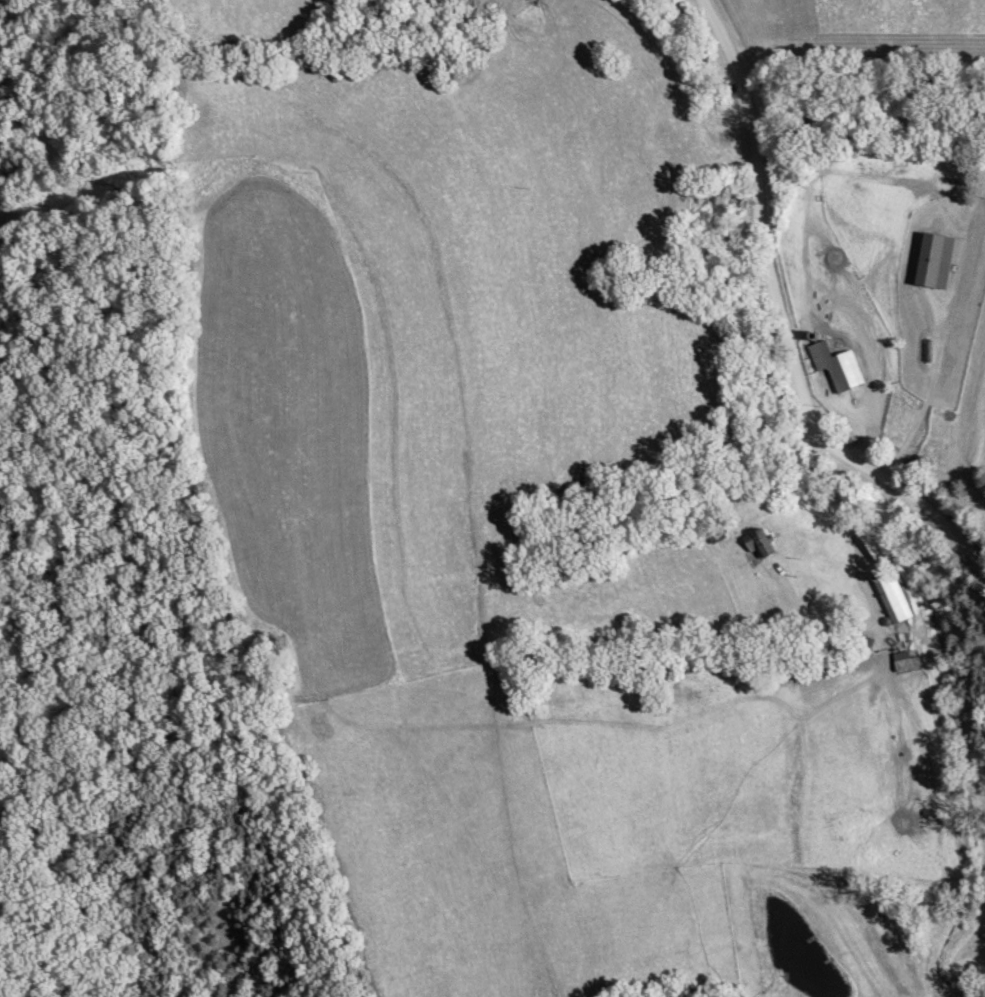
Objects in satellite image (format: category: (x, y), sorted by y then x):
road: (786, 319)
building: (834, 368)
building: (759, 545)
road: (863, 589)
building: (891, 600)
building: (771, 605)
building: (903, 663)

